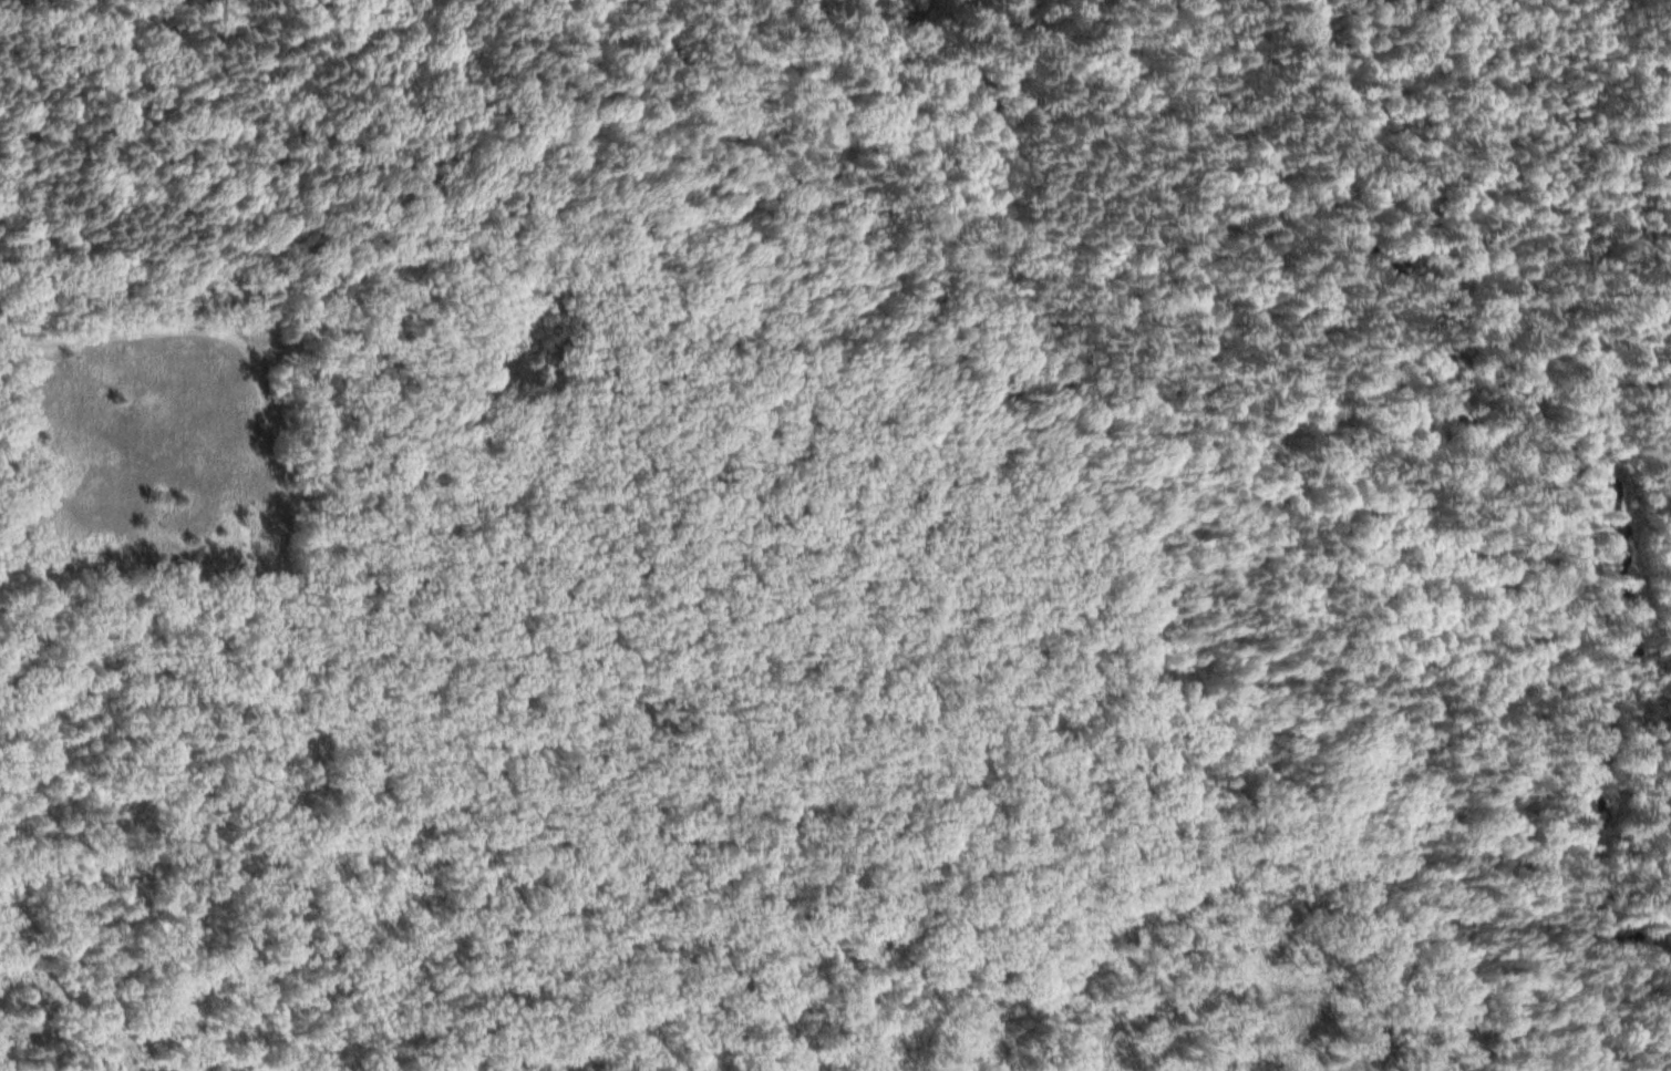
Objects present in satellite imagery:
road: (858, 44)
road: (1611, 158)
road: (209, 327)
road: (1528, 473)
road: (962, 494)
road: (1657, 940)
road: (1646, 980)
road: (1482, 1041)

